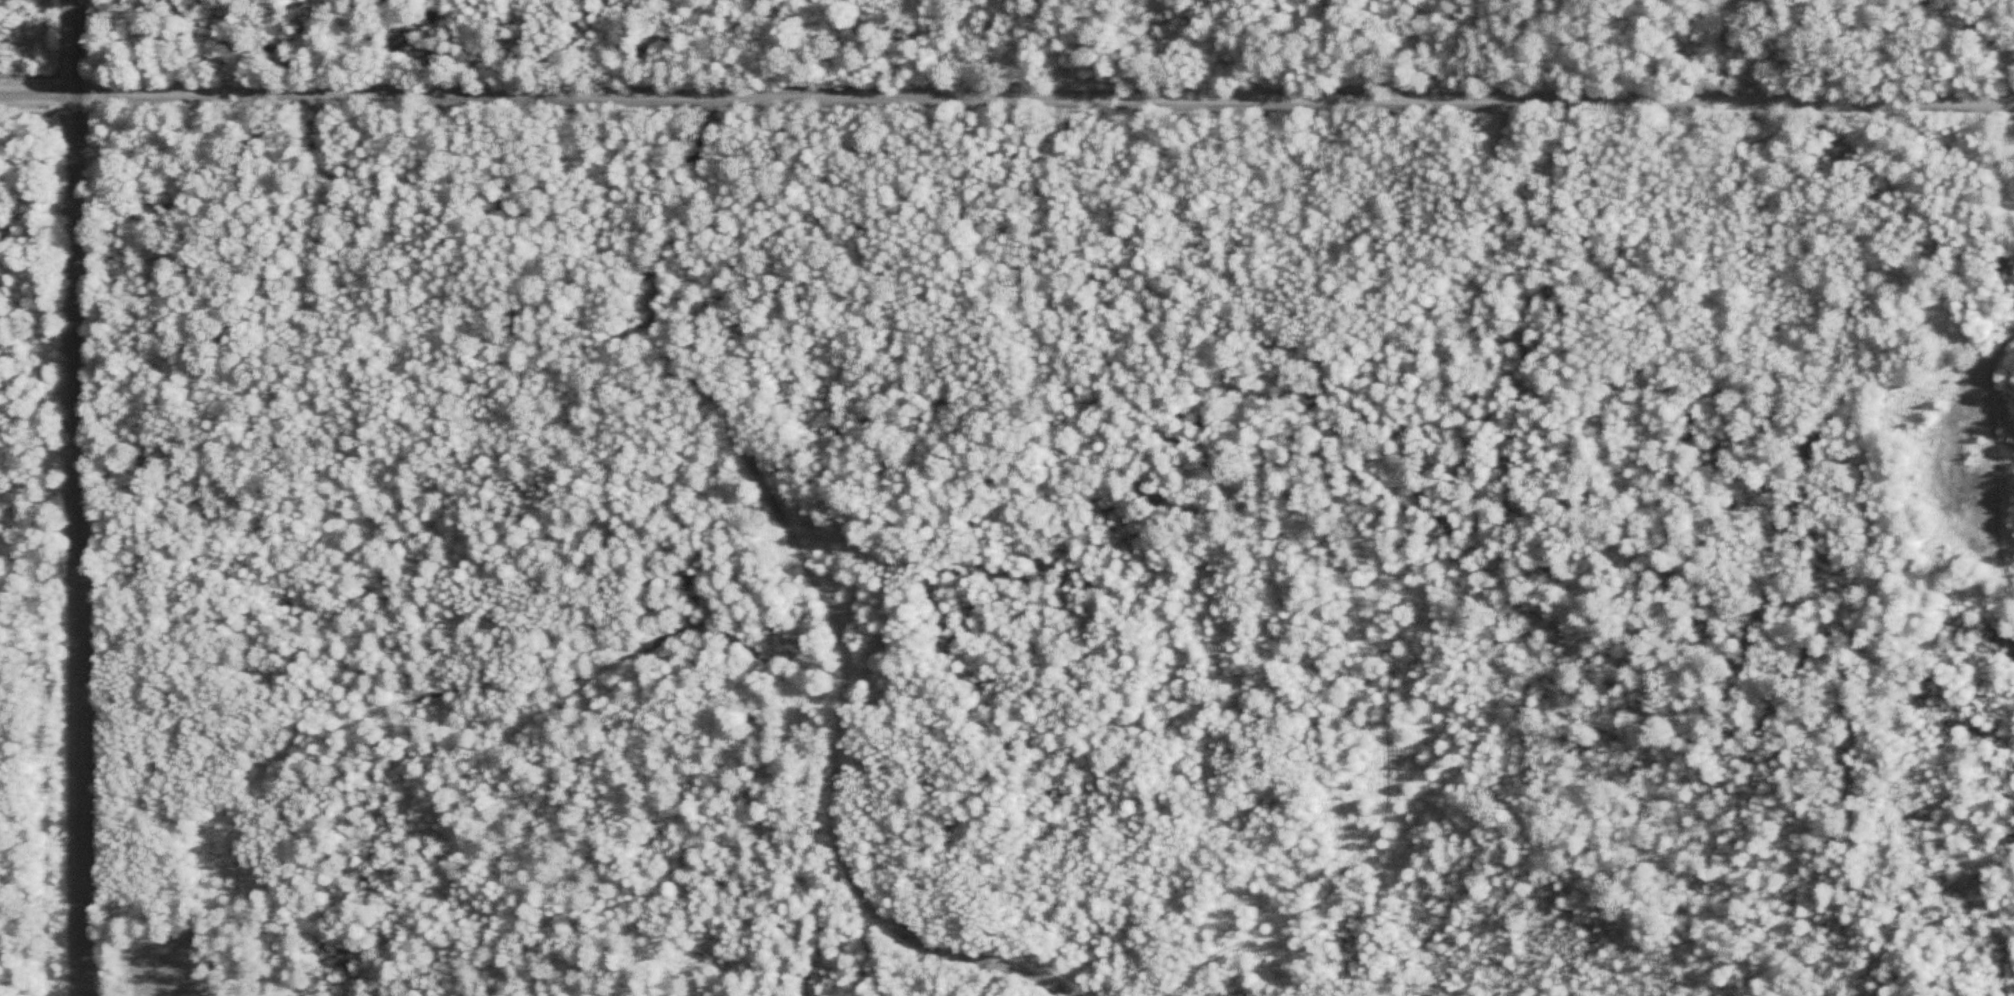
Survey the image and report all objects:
road: (39, 95)
road: (1046, 99)
road: (80, 497)

